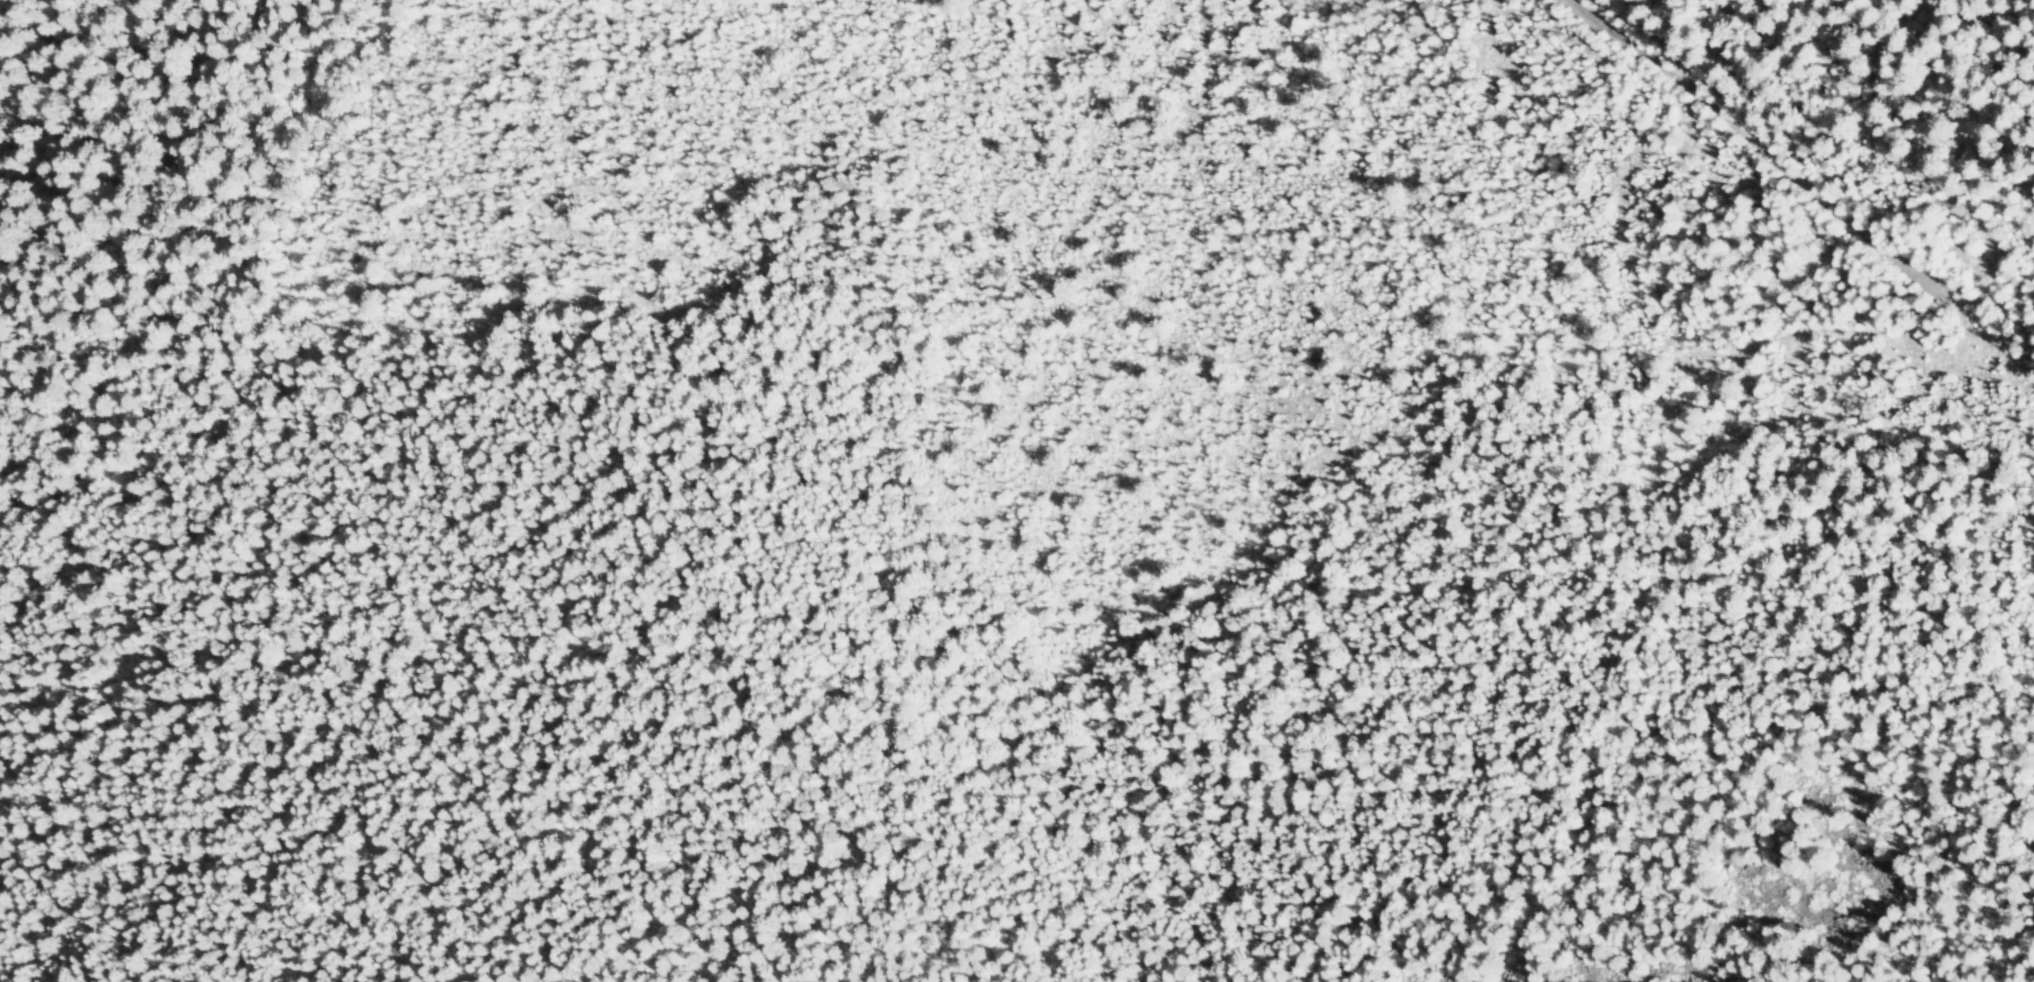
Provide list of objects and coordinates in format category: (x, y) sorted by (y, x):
road: (1751, 142)

